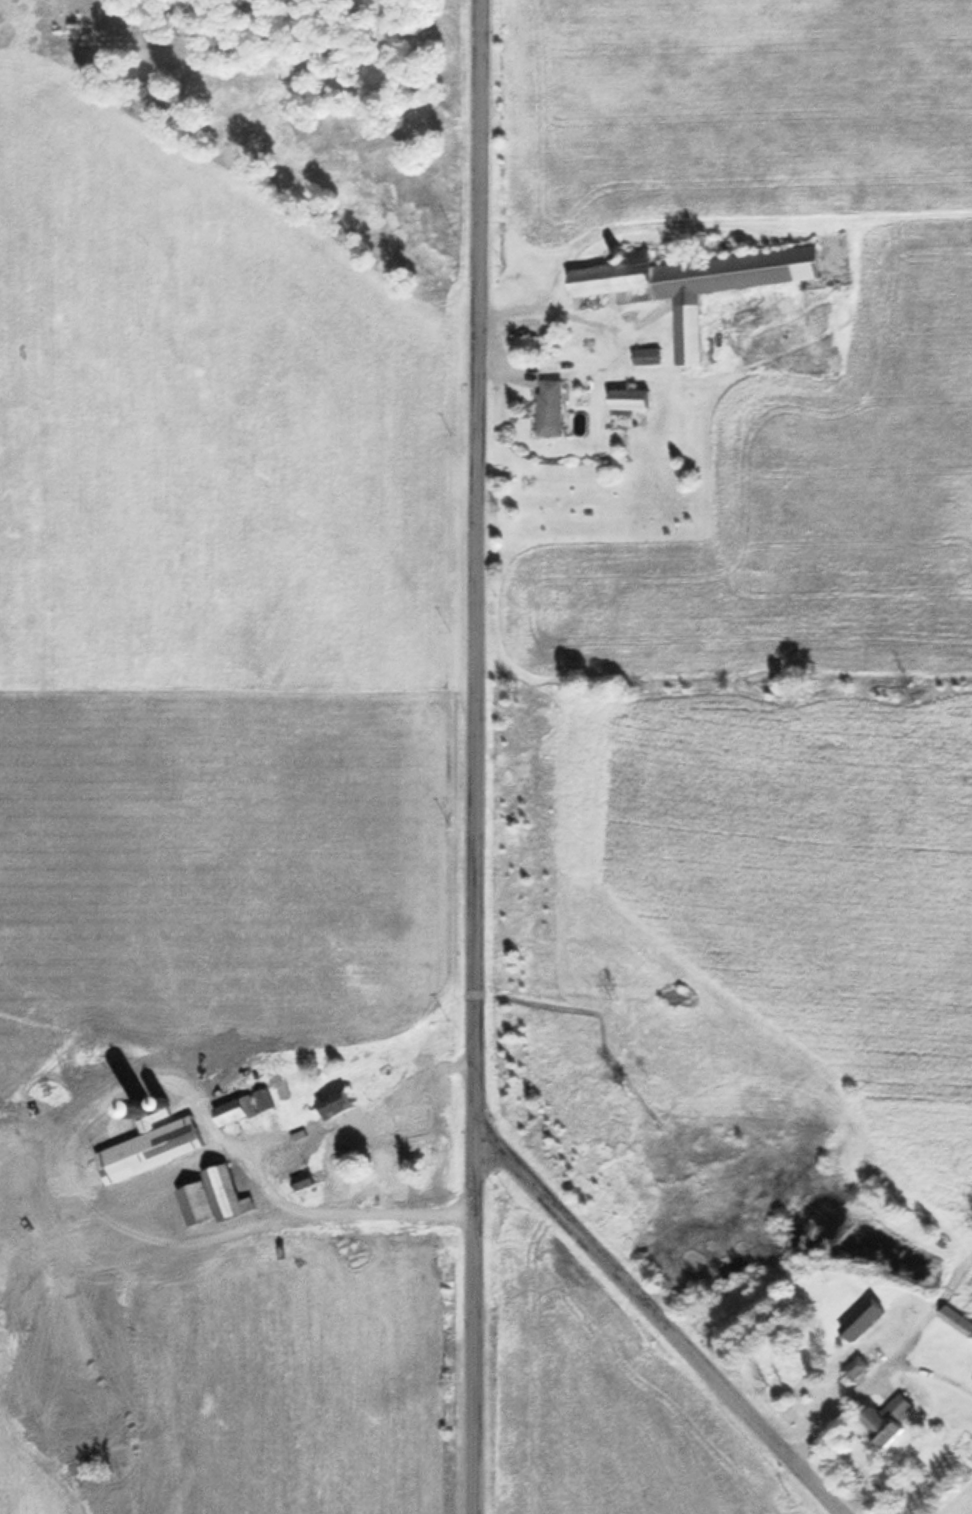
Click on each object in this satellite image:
building: (661, 290)
building: (526, 344)
building: (646, 356)
building: (629, 399)
building: (549, 407)
road: (475, 756)
building: (335, 1103)
building: (244, 1107)
building: (150, 1141)
building: (348, 1158)
building: (302, 1180)
building: (213, 1198)
building: (863, 1320)
building: (957, 1320)
road: (657, 1321)
building: (857, 1368)
building: (888, 1420)

